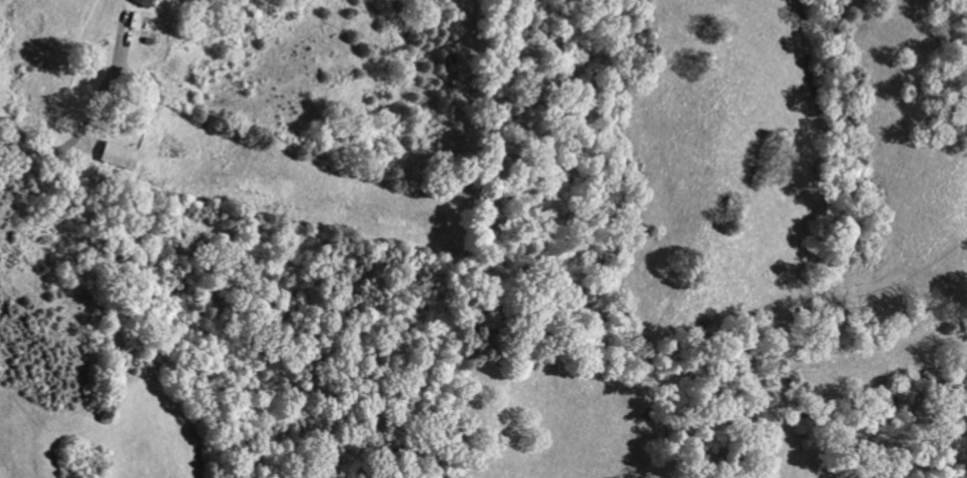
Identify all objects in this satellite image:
road: (78, 132)

